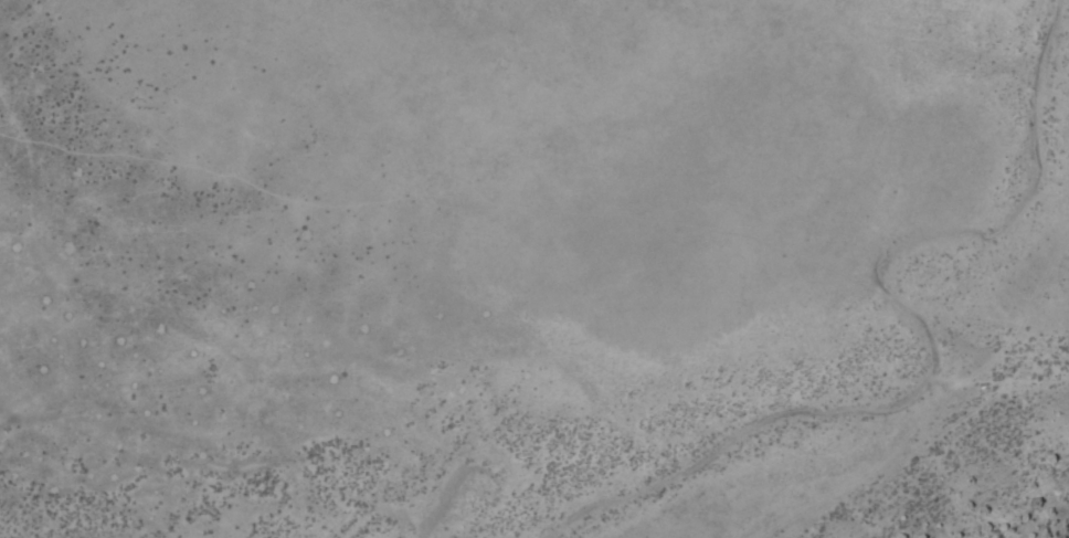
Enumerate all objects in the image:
road: (957, 395)

